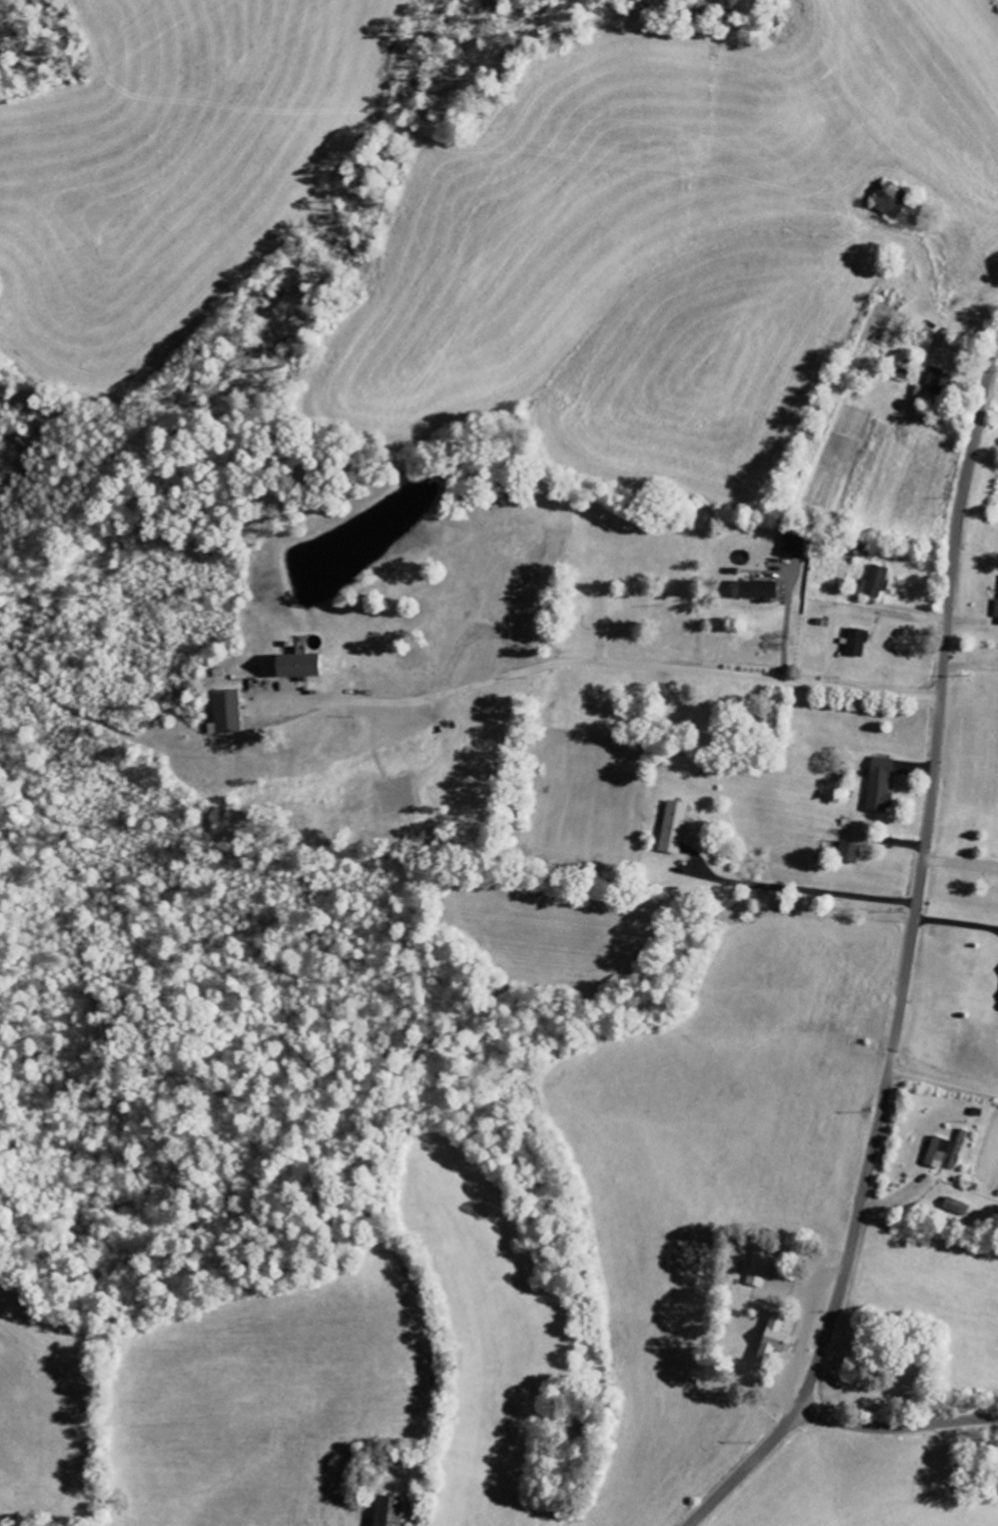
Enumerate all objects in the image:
building: (891, 200)
building: (938, 382)
building: (794, 543)
building: (877, 581)
building: (755, 590)
building: (996, 612)
building: (856, 643)
building: (297, 665)
road: (746, 677)
building: (227, 712)
building: (879, 786)
building: (674, 827)
building: (848, 853)
road: (906, 962)
road: (942, 1082)
building: (956, 1207)
building: (759, 1270)
building: (775, 1340)
road: (897, 1428)
building: (388, 1510)

